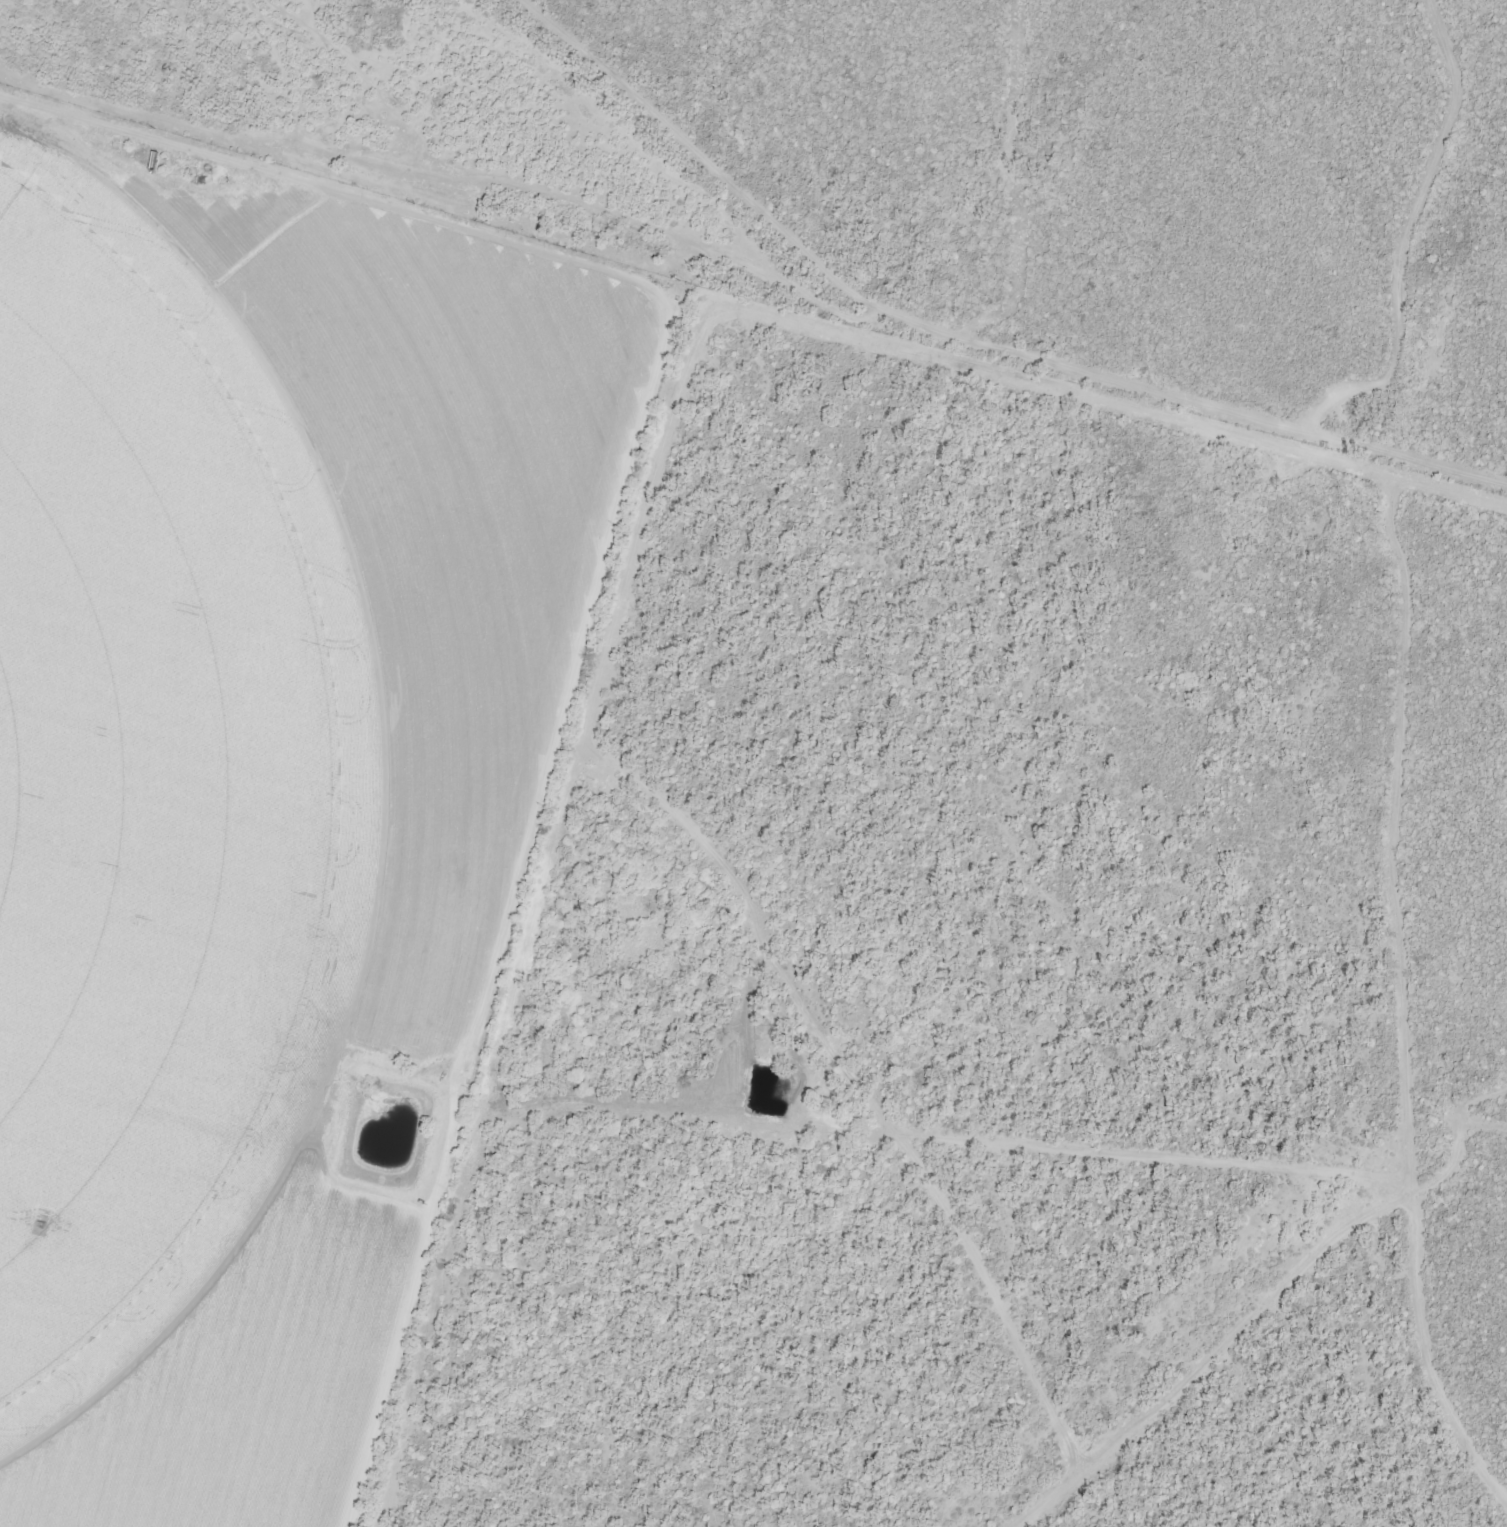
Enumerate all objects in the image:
road: (599, 570)
road: (1266, 1303)

